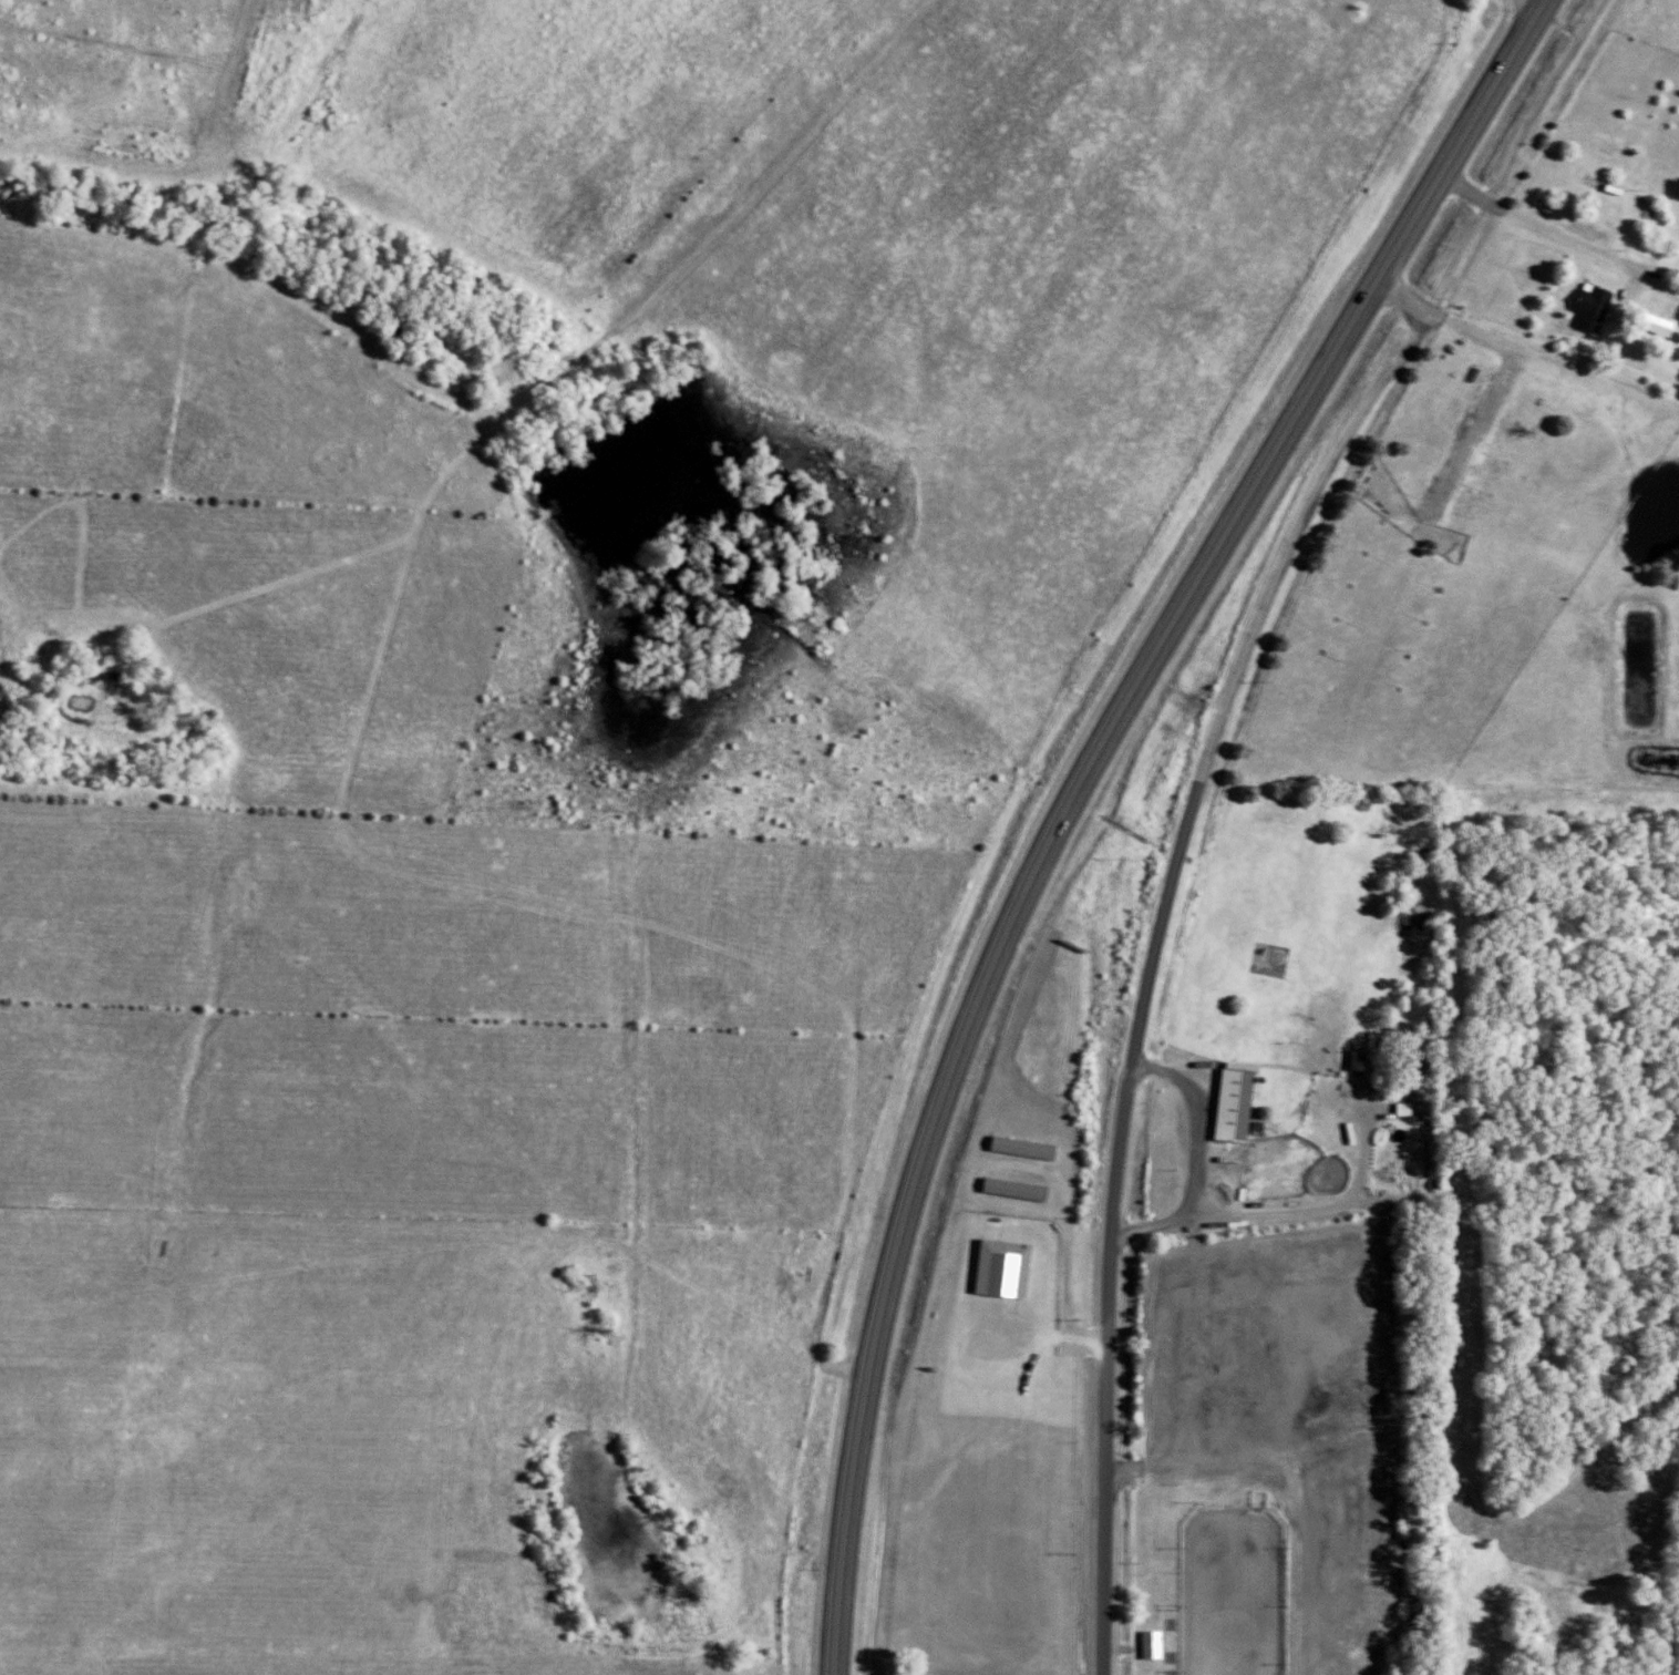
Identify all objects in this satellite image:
road: (1539, 3)
road: (1449, 164)
building: (1599, 305)
building: (1663, 323)
road: (1312, 507)
road: (1127, 690)
building: (1367, 1059)
building: (1422, 1075)
road: (1322, 1080)
building: (1242, 1101)
building: (1410, 1108)
building: (1030, 1147)
building: (1022, 1188)
building: (1011, 1267)
road: (1108, 1368)
road: (868, 1369)
road: (1290, 1489)
building: (1160, 1644)

